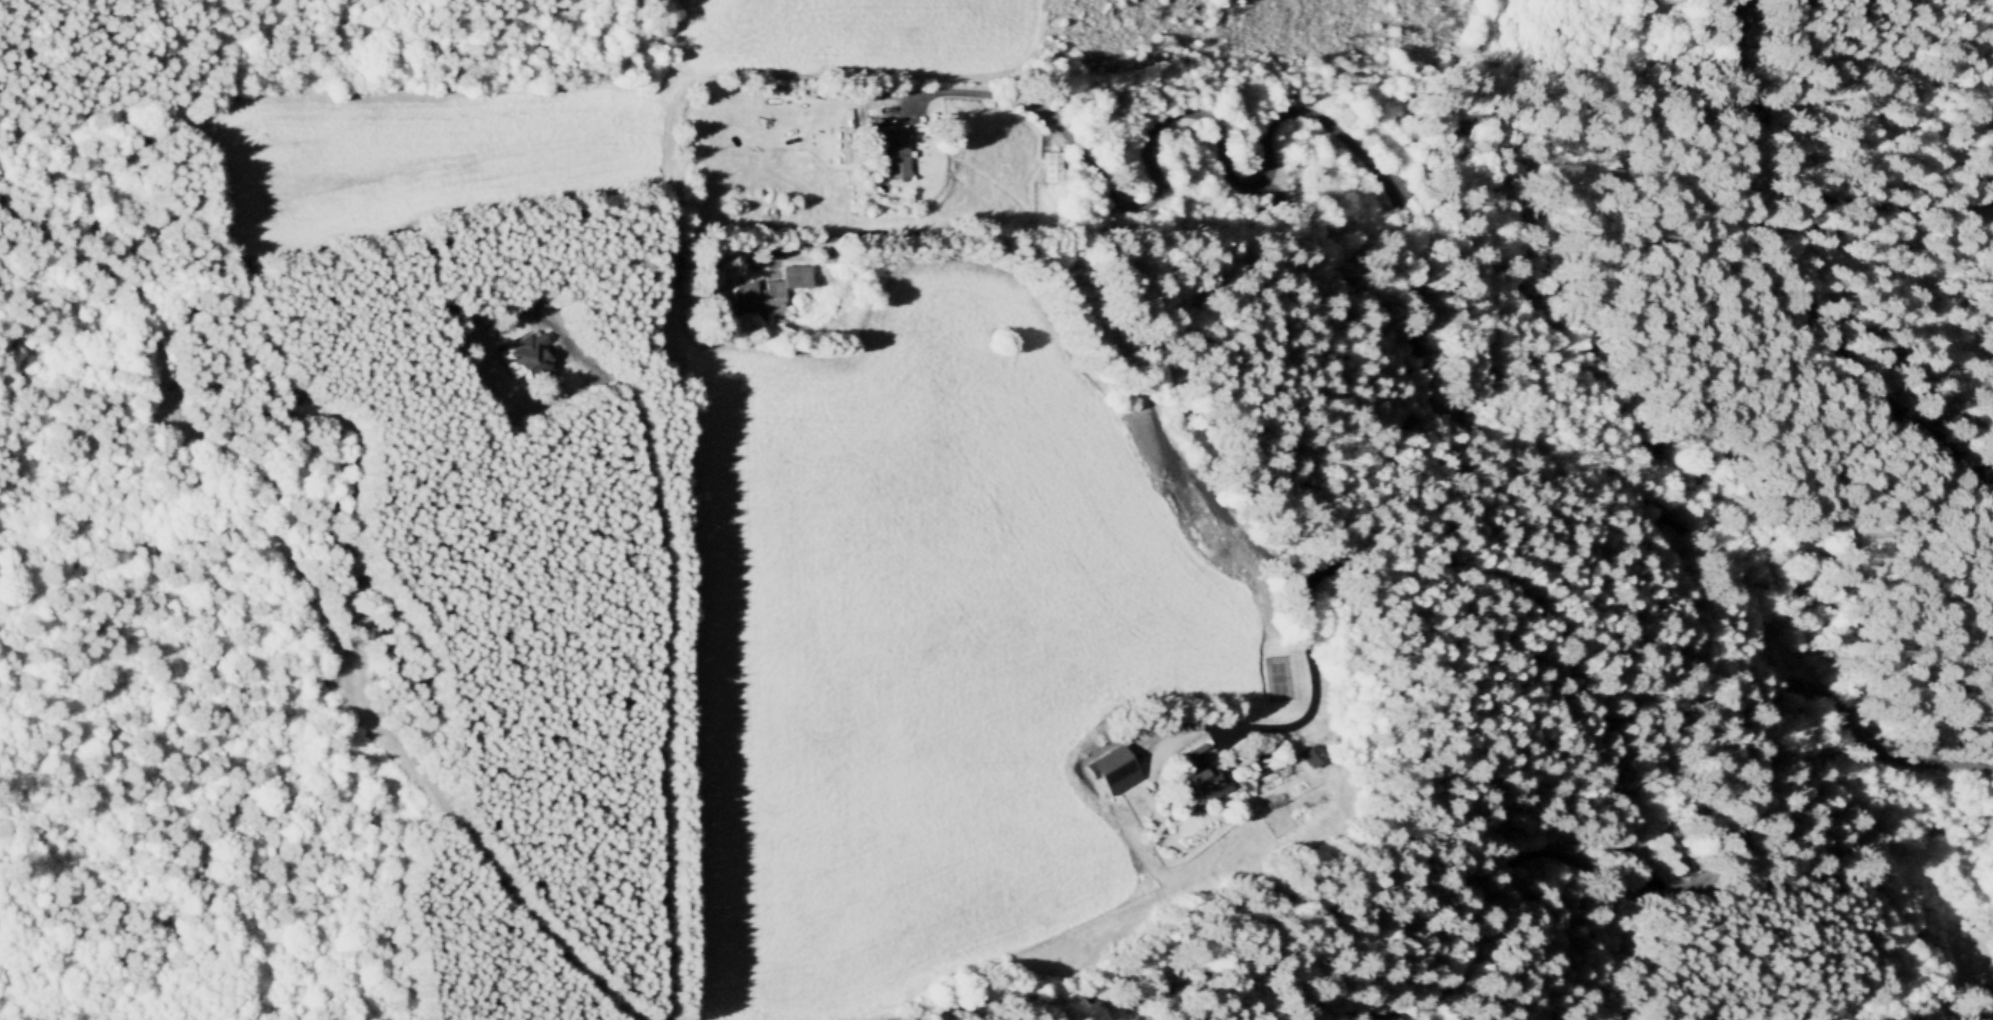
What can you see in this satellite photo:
crop: (837, 39)
building: (1059, 87)
road: (917, 104)
building: (802, 147)
building: (897, 152)
building: (1054, 167)
road: (1837, 191)
road: (1422, 251)
building: (830, 260)
road: (1784, 290)
building: (771, 292)
road: (1068, 293)
building: (460, 337)
building: (530, 359)
road: (375, 438)
road: (1472, 567)
road: (312, 577)
crop: (919, 639)
road: (651, 646)
building: (1324, 743)
building: (1315, 757)
building: (1117, 770)
building: (1204, 775)
building: (1245, 787)
building: (1275, 801)
road: (1760, 801)
road: (1260, 889)
road: (1484, 924)
building: (1989, 989)
road: (1092, 1000)

